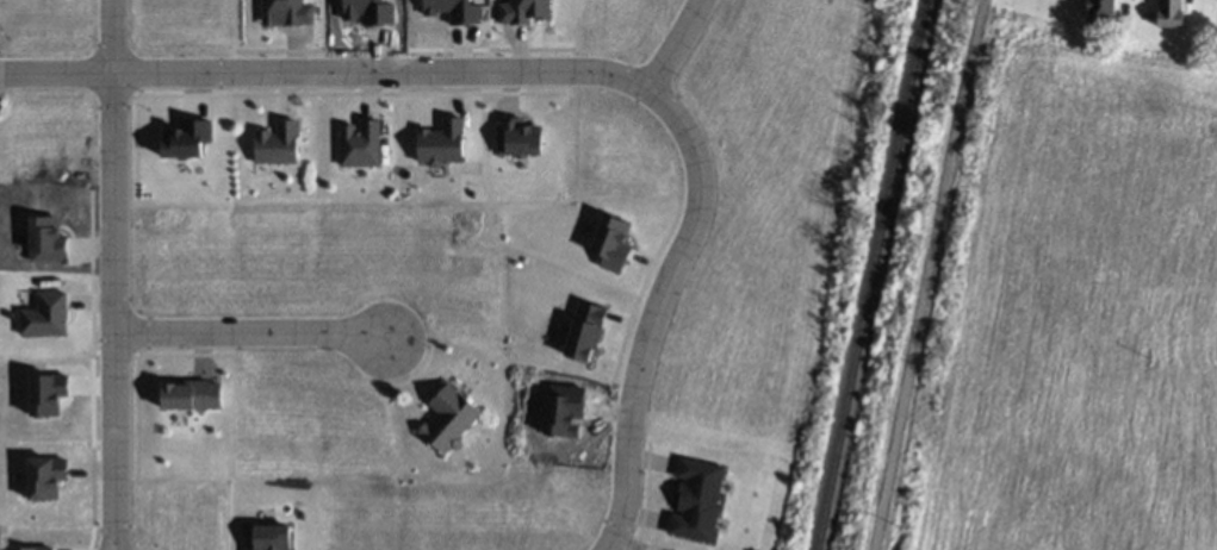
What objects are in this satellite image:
building: (1100, 10)
road: (111, 36)
road: (672, 44)
road: (325, 70)
building: (275, 143)
building: (358, 143)
railway: (864, 275)
road: (924, 275)
road: (112, 311)
road: (652, 311)
building: (43, 315)
road: (248, 331)
building: (190, 395)
building: (447, 418)
building: (694, 499)

